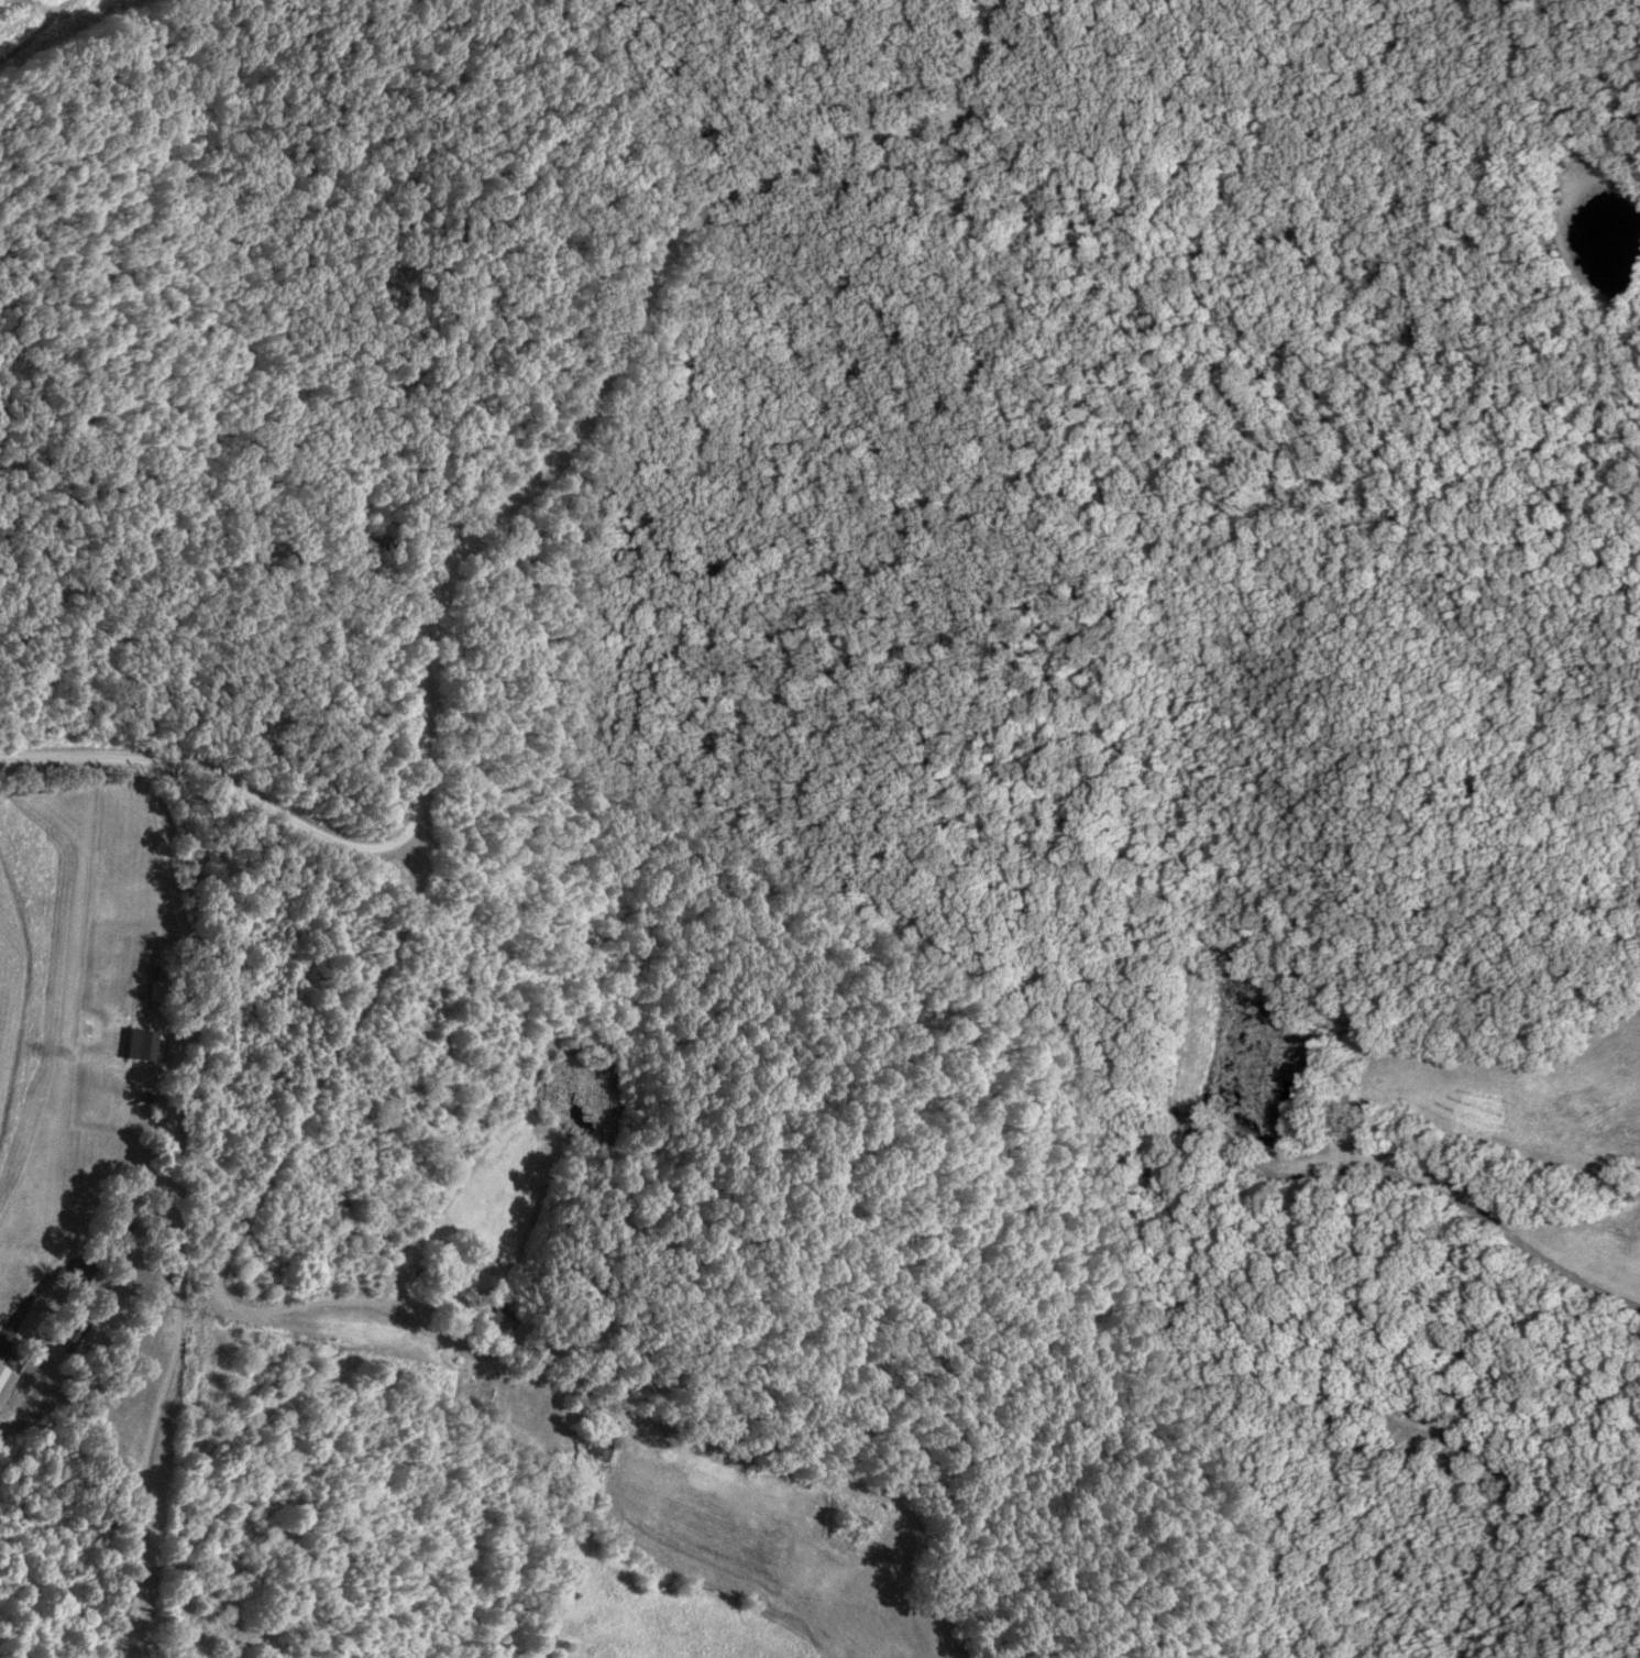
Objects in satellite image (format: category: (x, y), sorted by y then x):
road: (19, 11)
road: (612, 350)
road: (219, 766)
road: (176, 1080)
building: (444, 1270)
building: (485, 1314)
road: (416, 1321)
building: (71, 1331)
building: (4, 1375)
road: (148, 1428)
building: (602, 1445)
building: (850, 1527)

